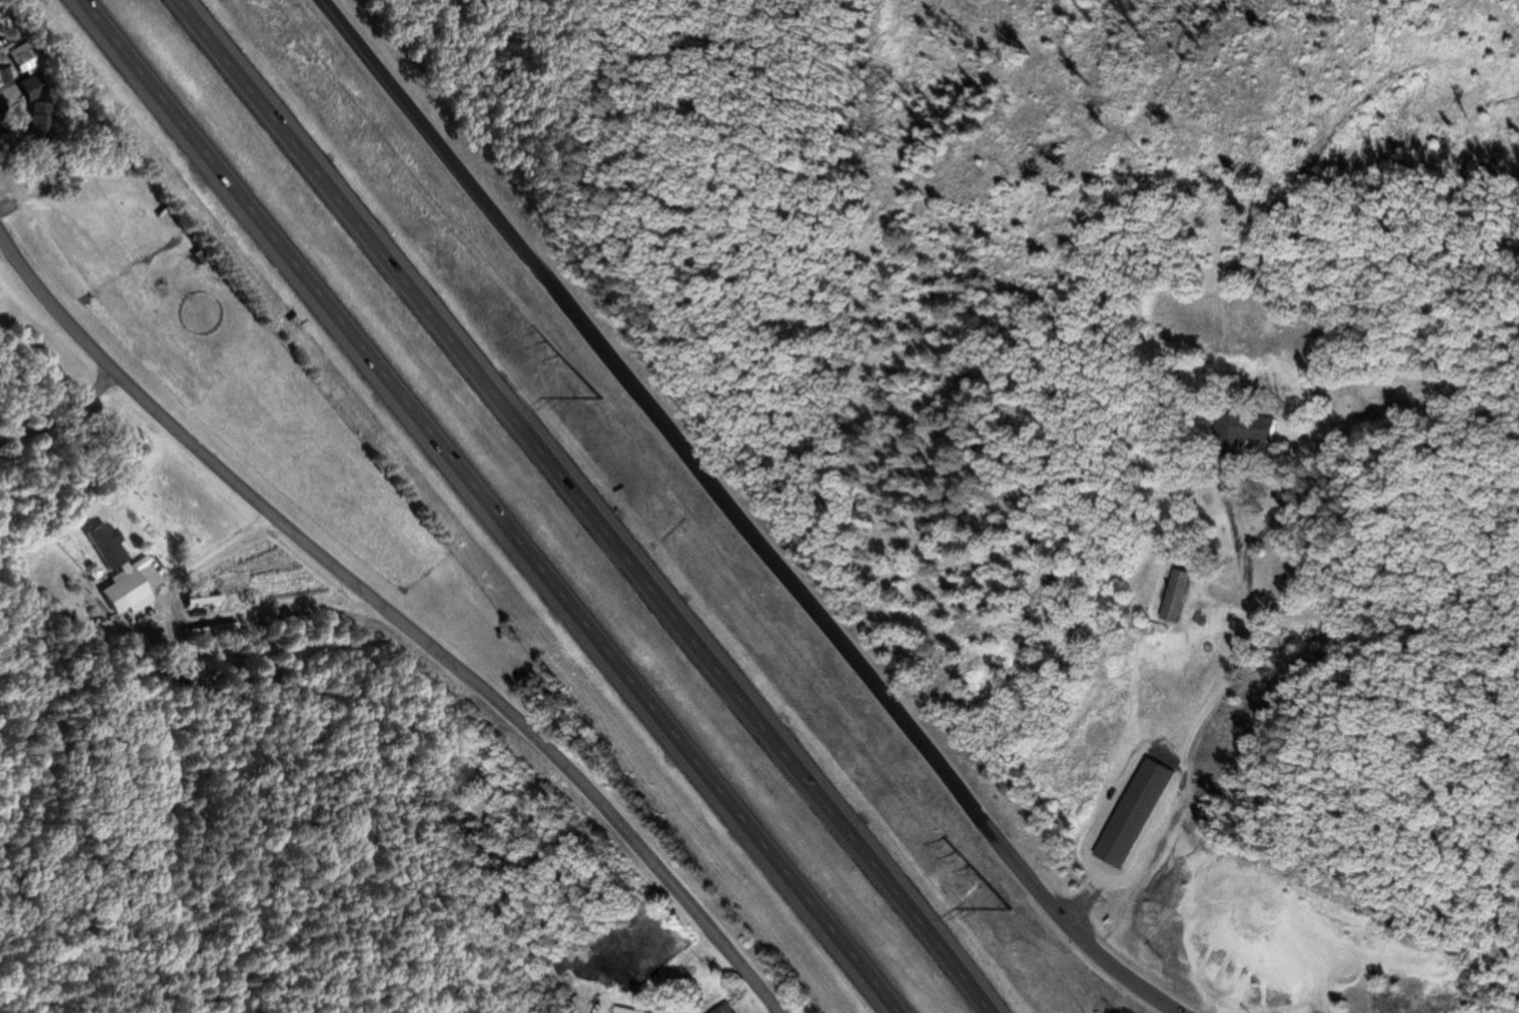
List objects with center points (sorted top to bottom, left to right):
building: (35, 61)
building: (10, 76)
building: (45, 107)
road: (1, 248)
power tower: (599, 397)
building: (1238, 432)
road: (490, 503)
road: (595, 509)
road: (729, 516)
building: (1170, 596)
road: (400, 619)
road: (1226, 729)
power tower: (1010, 907)
building: (563, 962)
building: (722, 1009)
building: (618, 1011)

